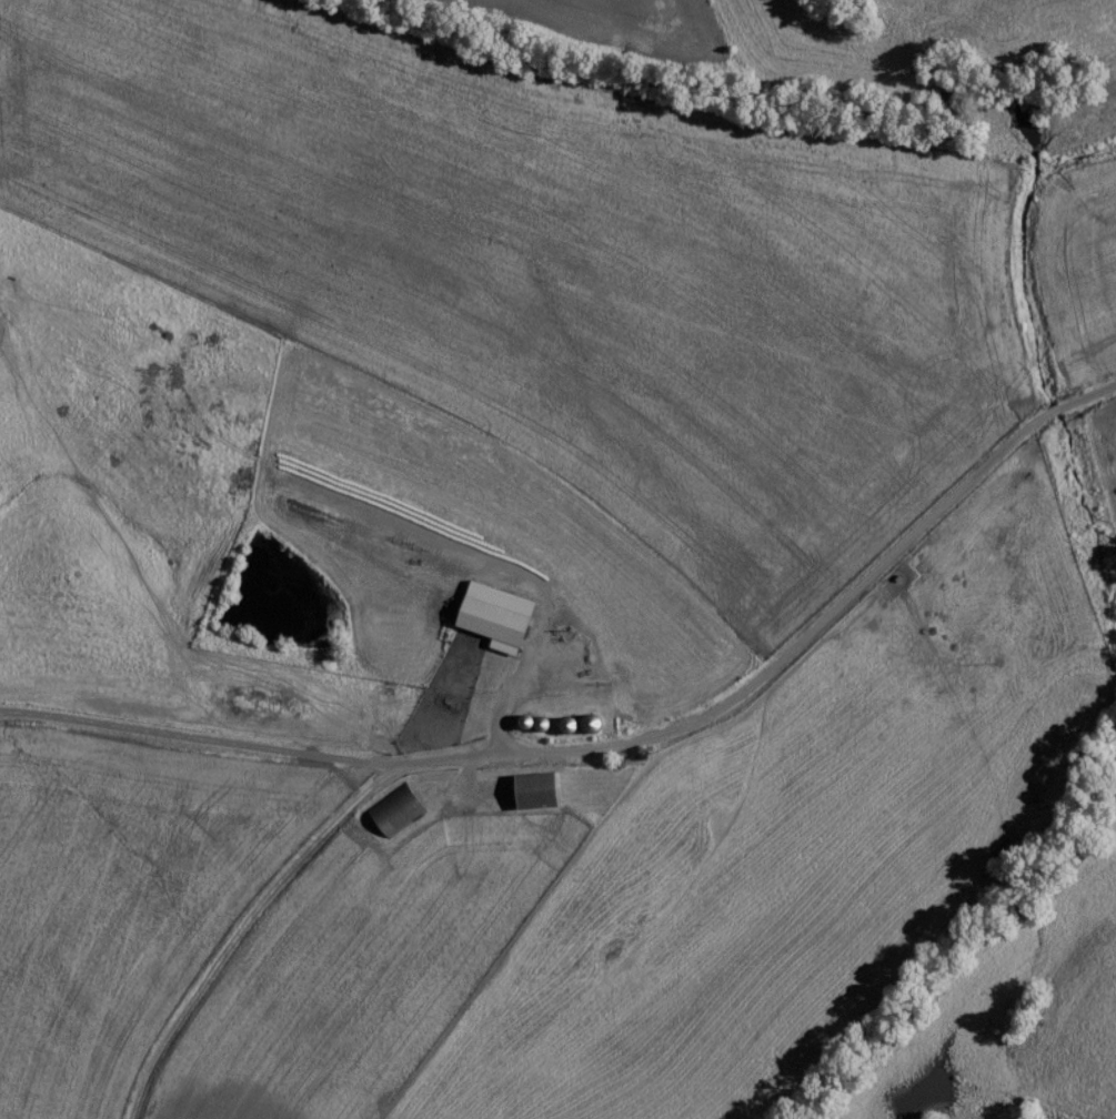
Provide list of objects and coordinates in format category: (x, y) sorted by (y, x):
road: (847, 534)
building: (503, 616)
building: (544, 790)
building: (403, 808)

